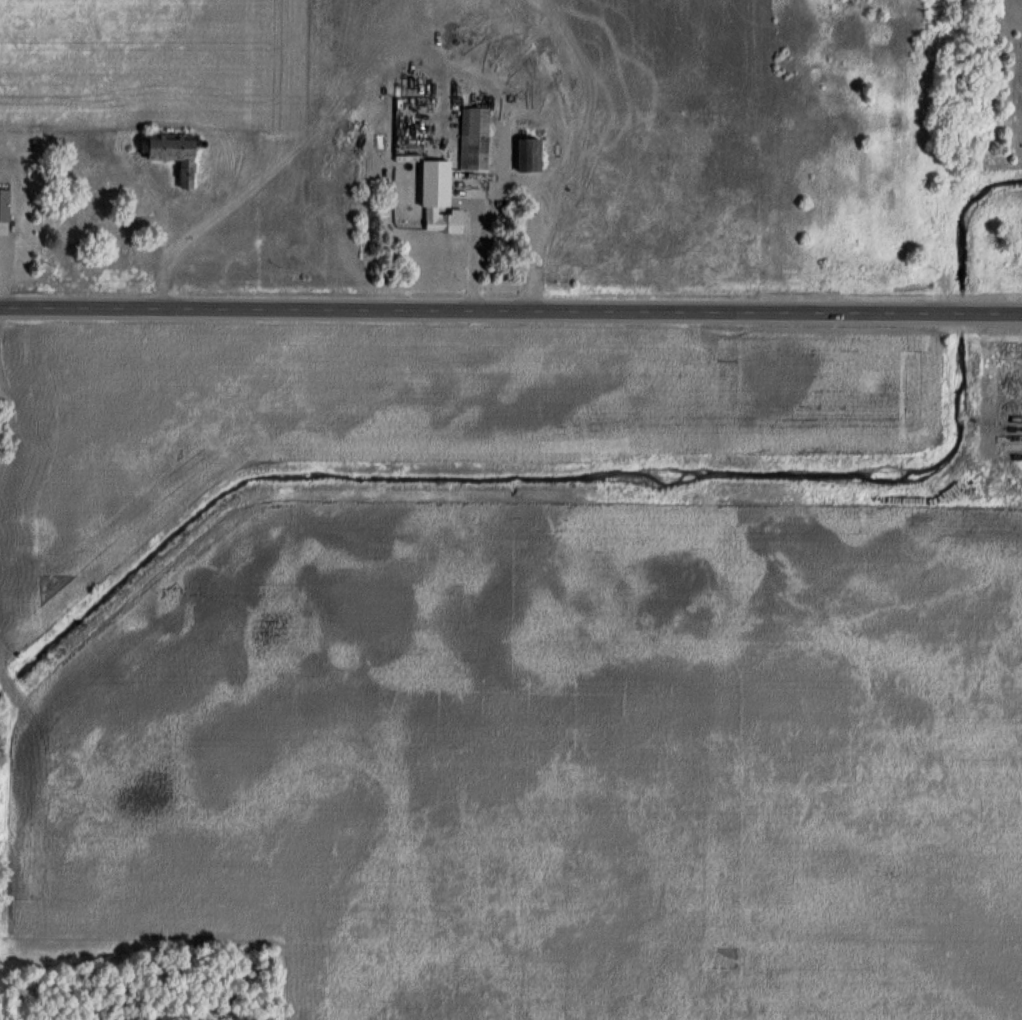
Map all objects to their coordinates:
building: (477, 140)
building: (171, 154)
building: (527, 156)
road: (512, 177)
building: (420, 182)
building: (475, 183)
building: (5, 205)
building: (442, 224)
road: (510, 311)

